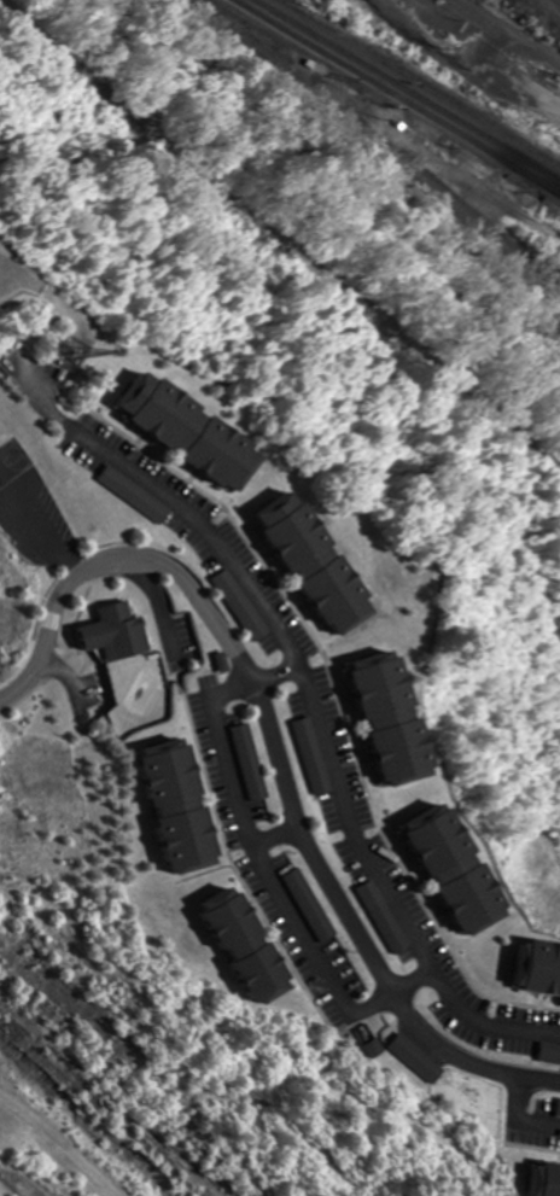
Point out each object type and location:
railway: (556, 2)
road: (474, 52)
railway: (422, 81)
railway: (409, 88)
railway: (399, 94)
railway: (378, 145)
building: (194, 430)
building: (139, 497)
building: (320, 561)
building: (240, 603)
road: (168, 620)
building: (117, 631)
road: (293, 661)
road: (70, 675)
building: (399, 720)
road: (269, 752)
building: (311, 755)
building: (185, 806)
road: (274, 836)
road: (268, 865)
building: (462, 869)
building: (309, 905)
building: (385, 921)
building: (252, 945)
building: (537, 968)
building: (549, 1055)
building: (418, 1058)
road: (511, 1127)
road: (66, 1138)
building: (549, 1182)

